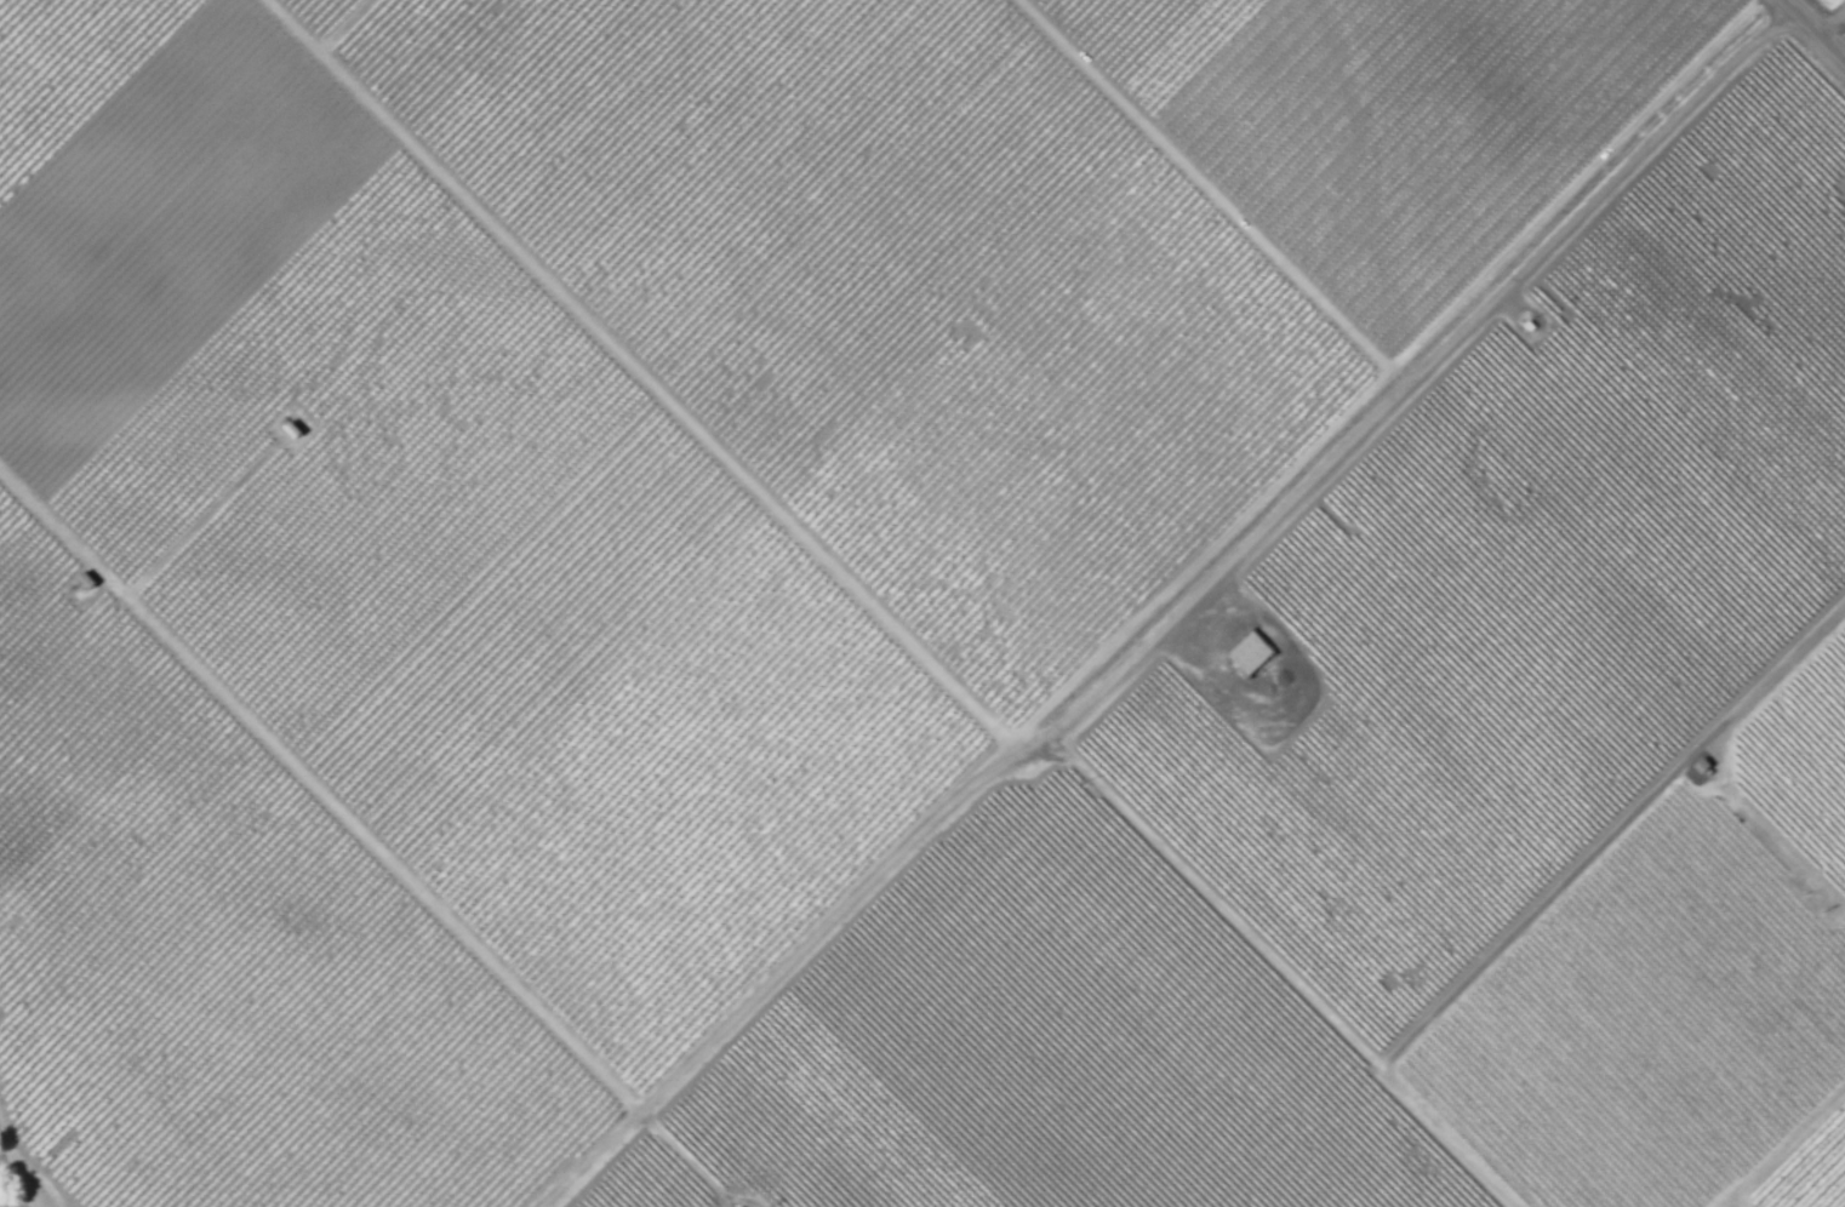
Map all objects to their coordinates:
road: (1834, 23)
road: (1816, 27)
road: (1498, 304)
building: (1531, 326)
building: (292, 431)
building: (82, 585)
building: (1250, 654)
building: (1703, 766)
building: (750, 1206)

